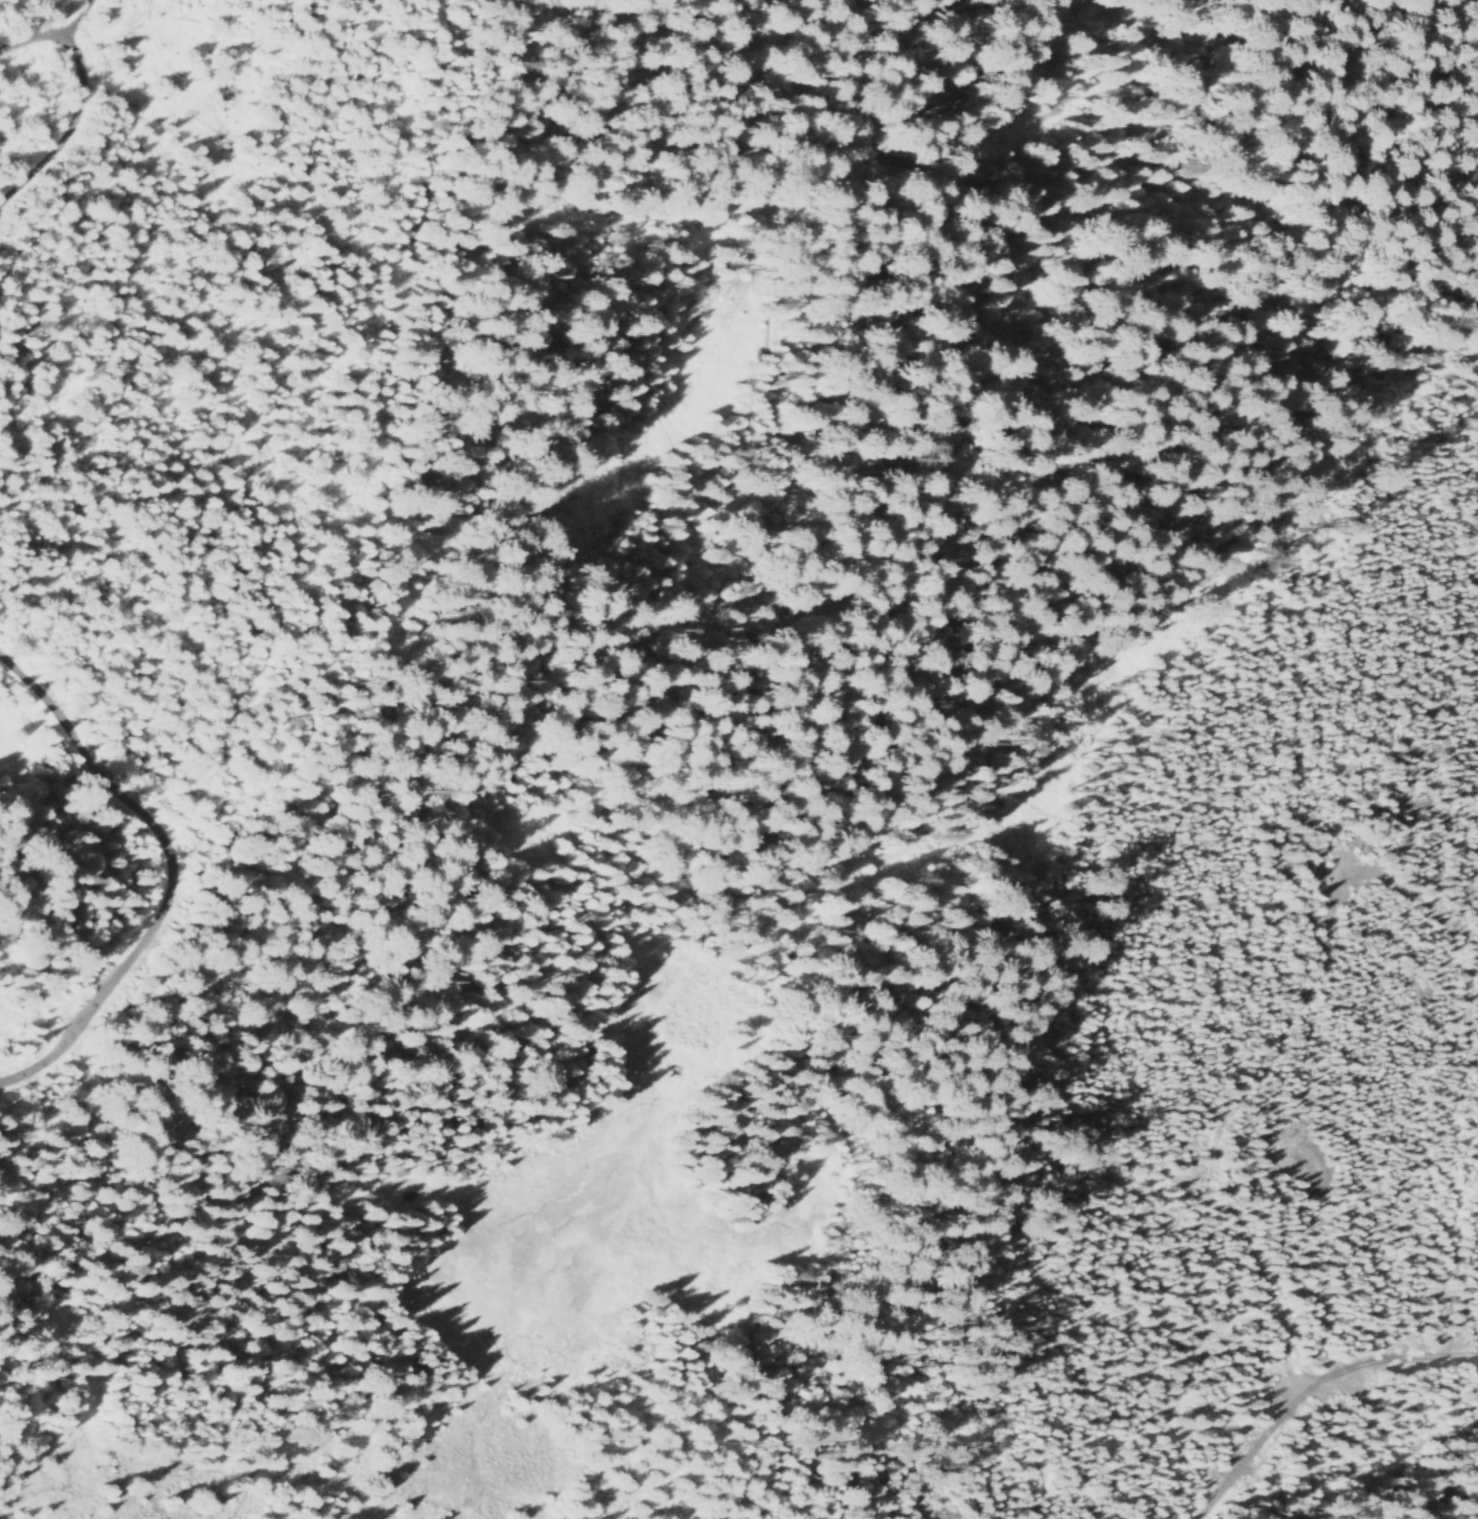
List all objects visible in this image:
road: (79, 25)
road: (74, 101)
road: (795, 795)
road: (165, 869)
road: (1206, 1133)
road: (1310, 1389)

